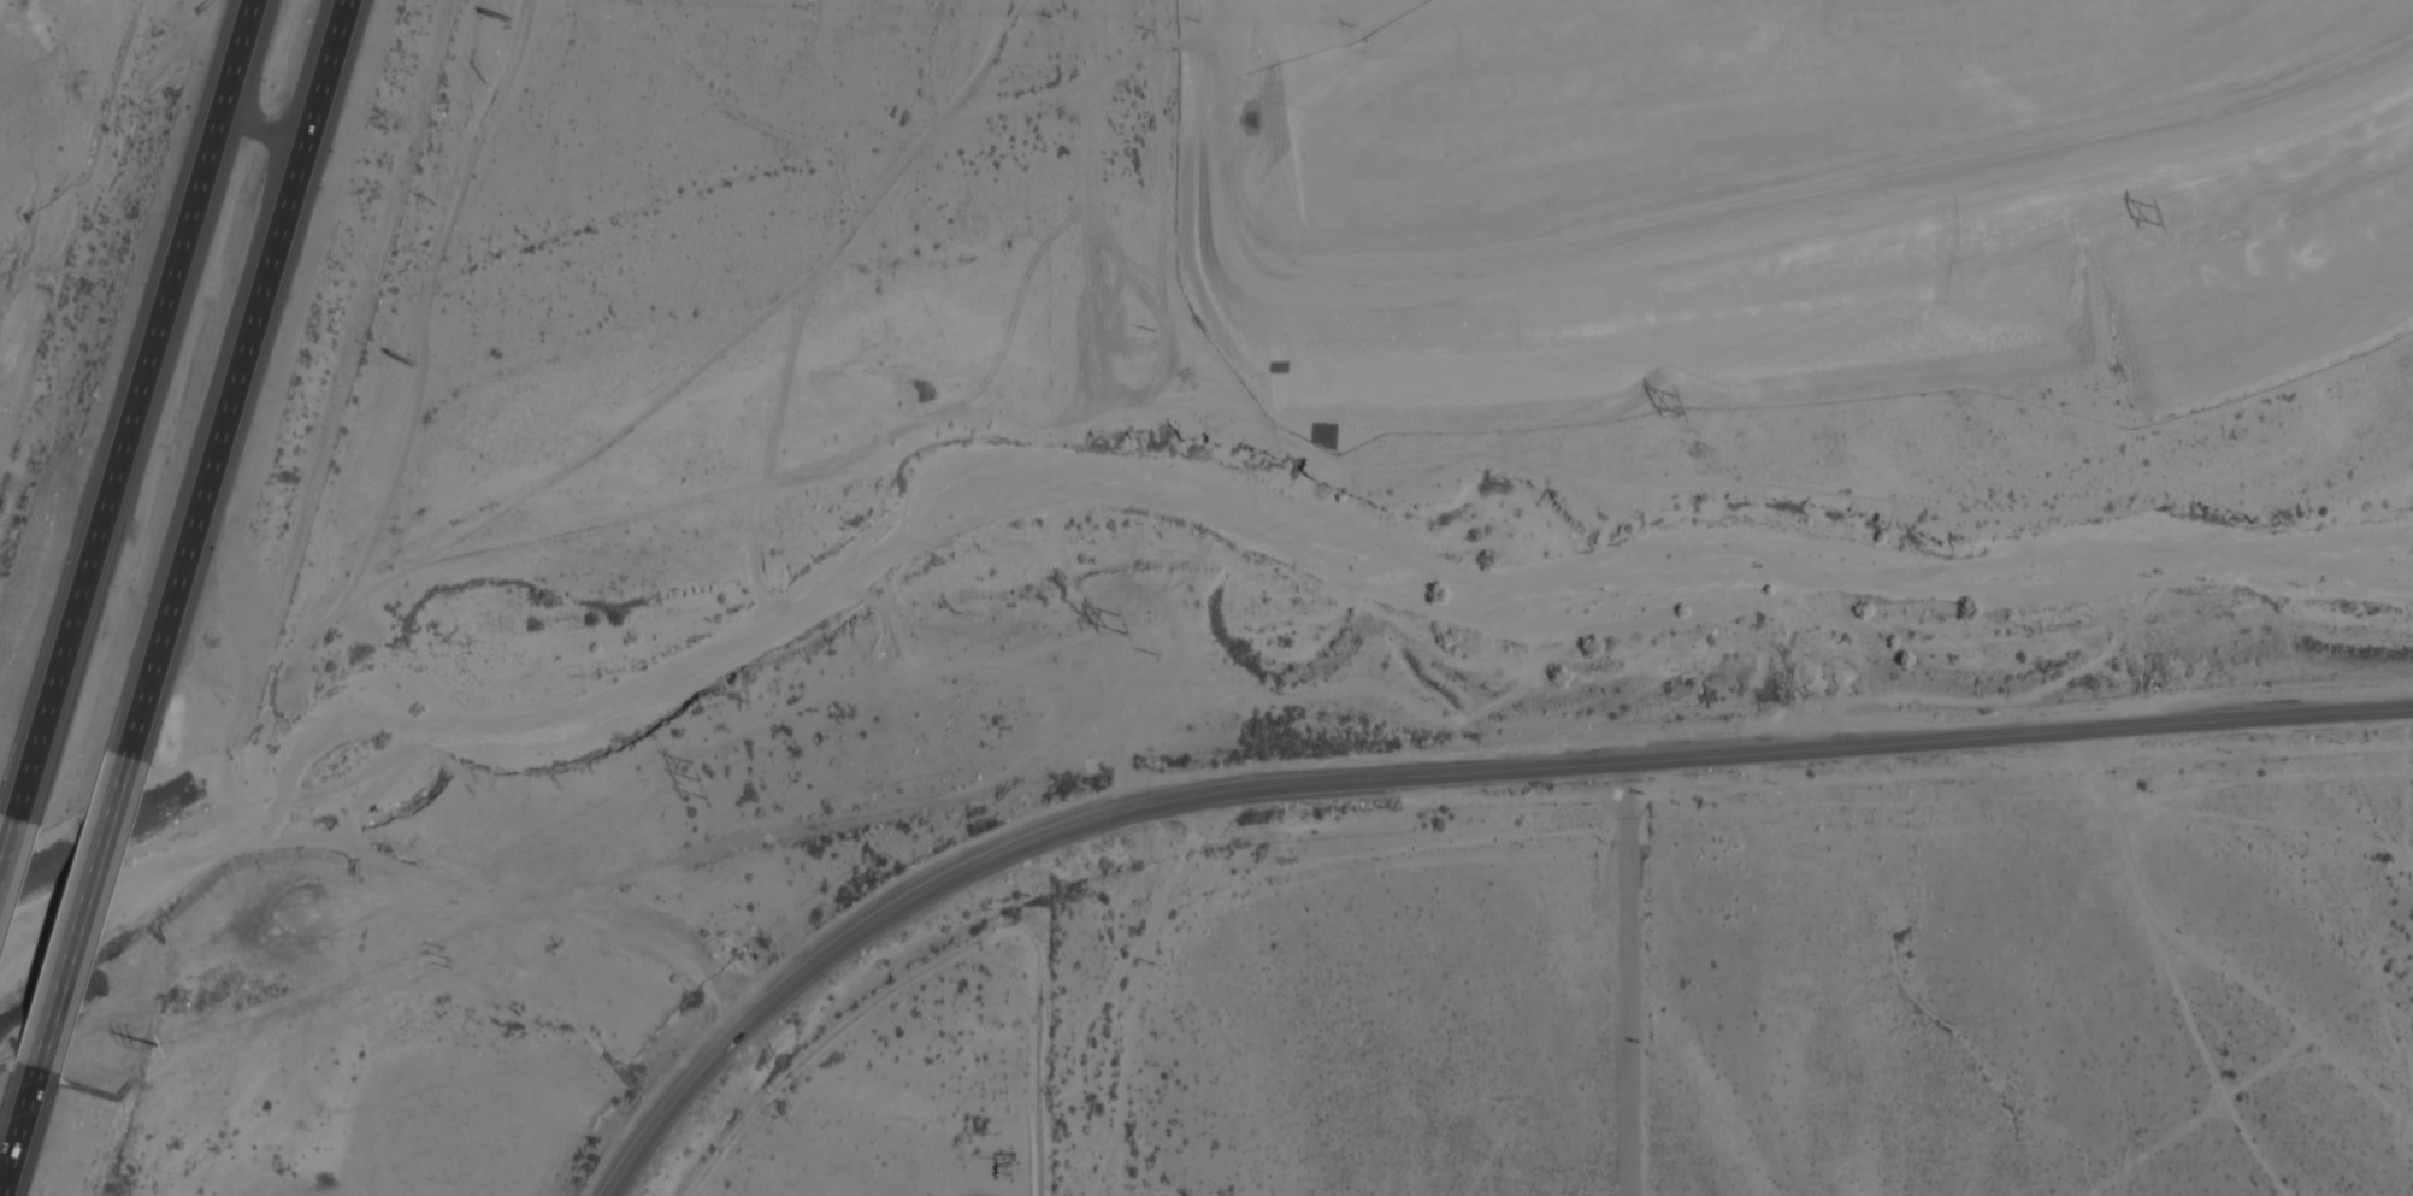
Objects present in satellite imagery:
road: (266, 132)
power tower: (2153, 211)
power tower: (1675, 400)
road: (237, 406)
road: (131, 431)
power tower: (1119, 617)
road: (1438, 774)
power tower: (700, 779)
road: (92, 913)
road: (1627, 978)
power tower: (161, 1045)
road: (36, 1104)

